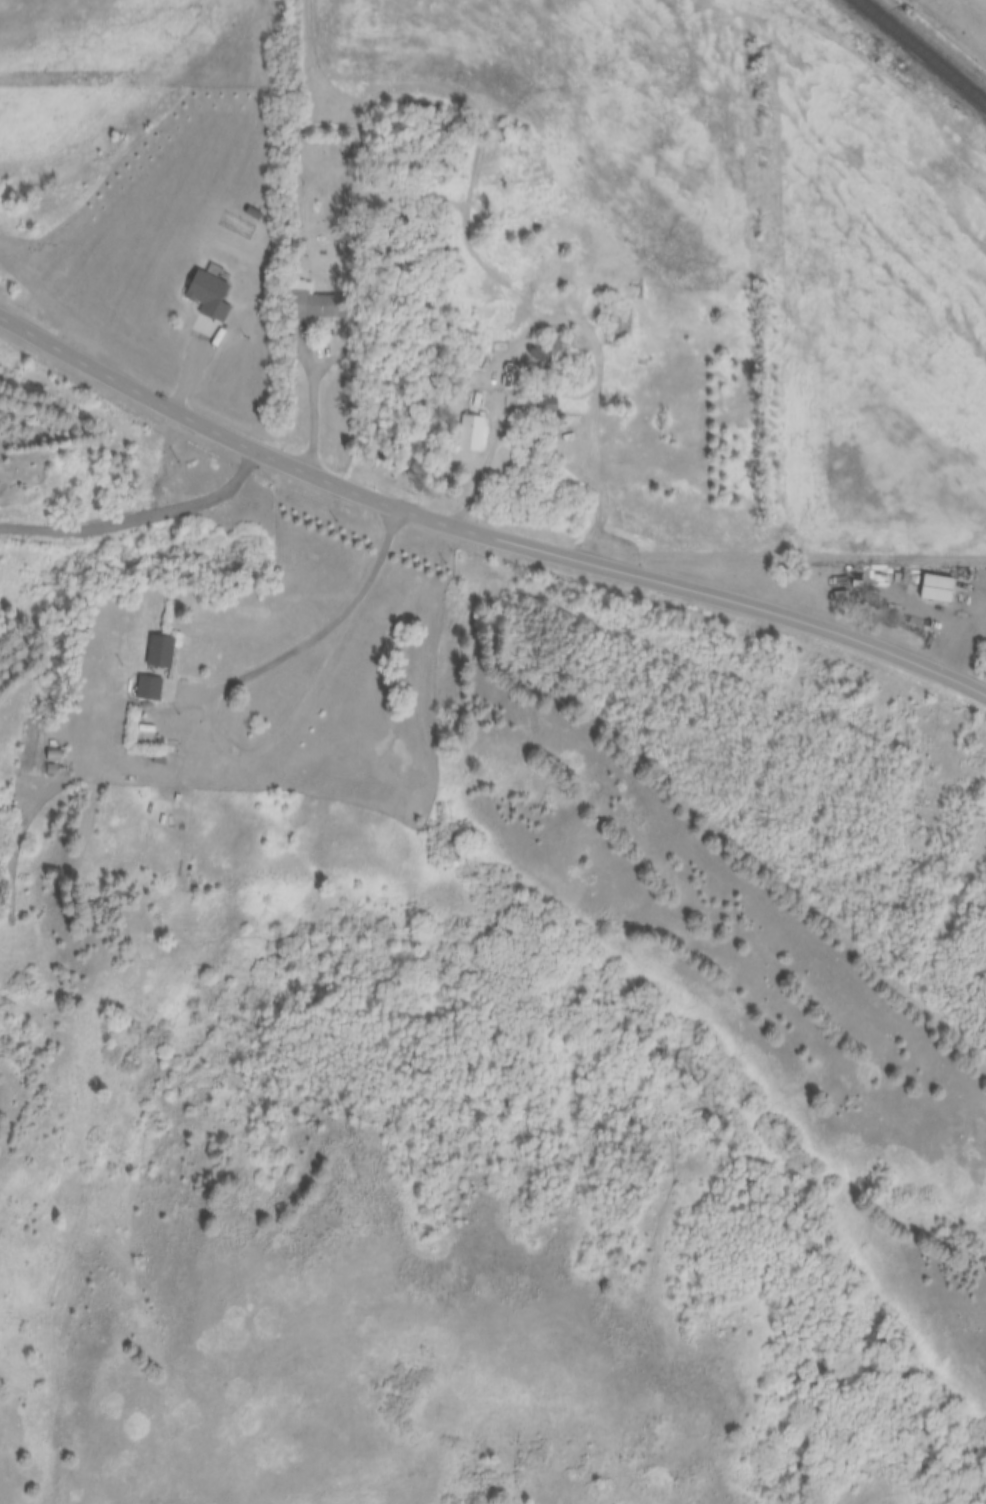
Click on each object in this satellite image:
railway: (921, 51)
building: (316, 303)
road: (589, 338)
building: (538, 353)
road: (316, 373)
building: (544, 404)
building: (467, 432)
road: (491, 454)
road: (481, 530)
road: (778, 550)
building: (934, 587)
road: (314, 635)
road: (952, 637)
building: (158, 651)
building: (146, 689)
building: (49, 769)

